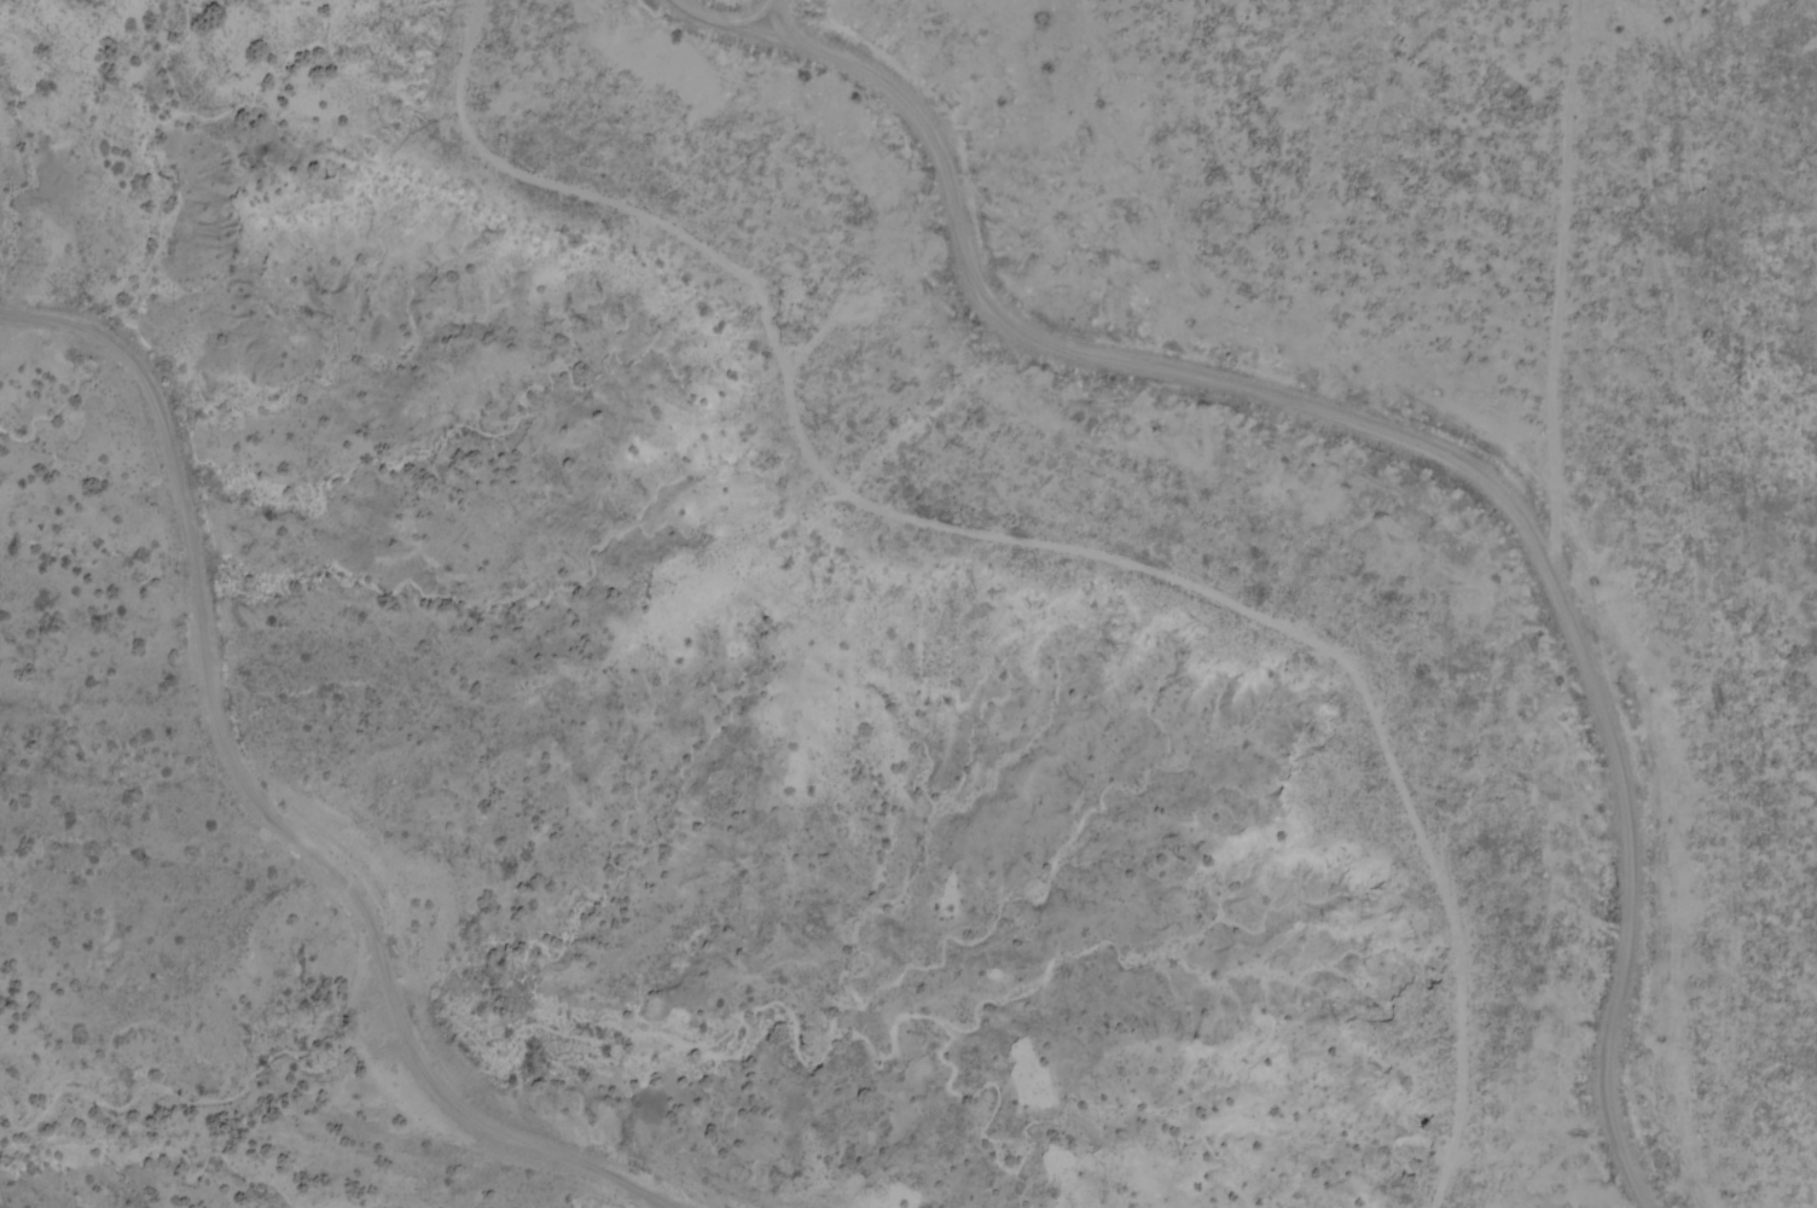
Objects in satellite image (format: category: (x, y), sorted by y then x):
road: (773, 17)
road: (1377, 429)
road: (261, 801)

